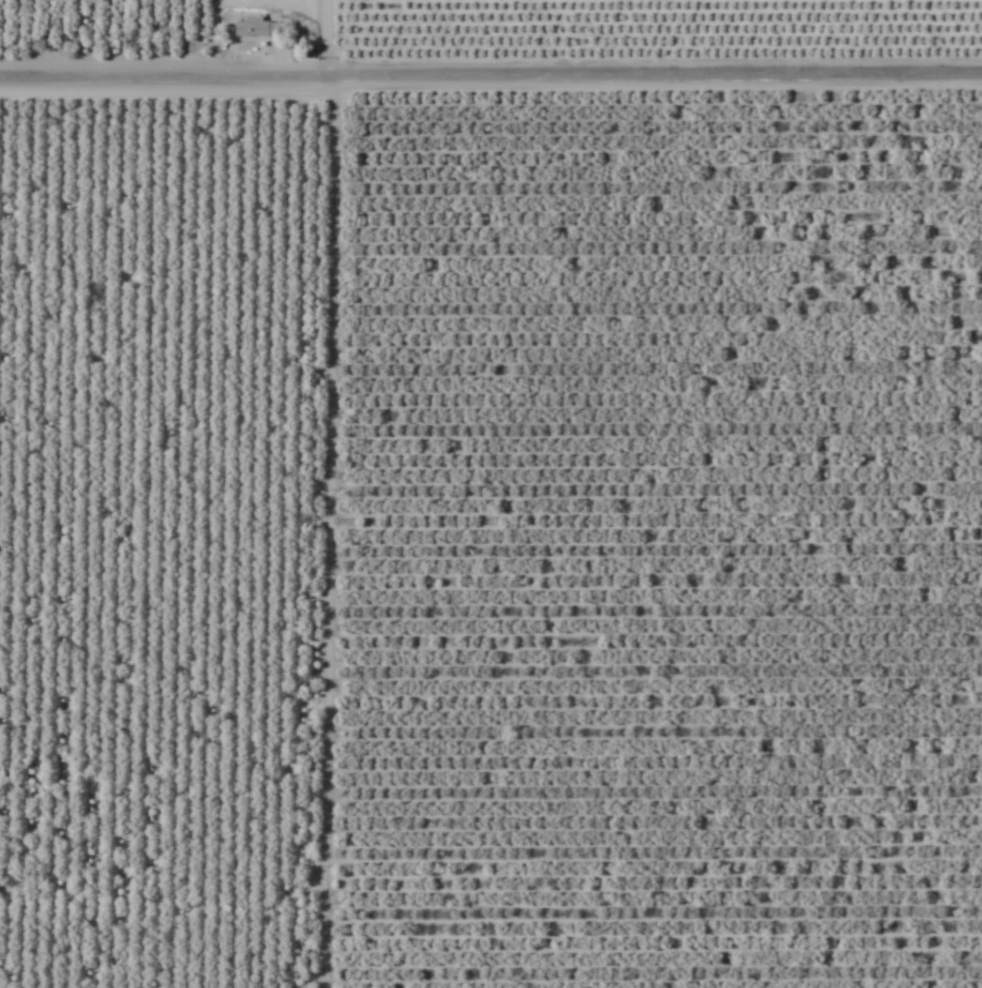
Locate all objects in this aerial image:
building: (257, 28)
road: (491, 77)
road: (274, 494)
crop: (491, 494)

